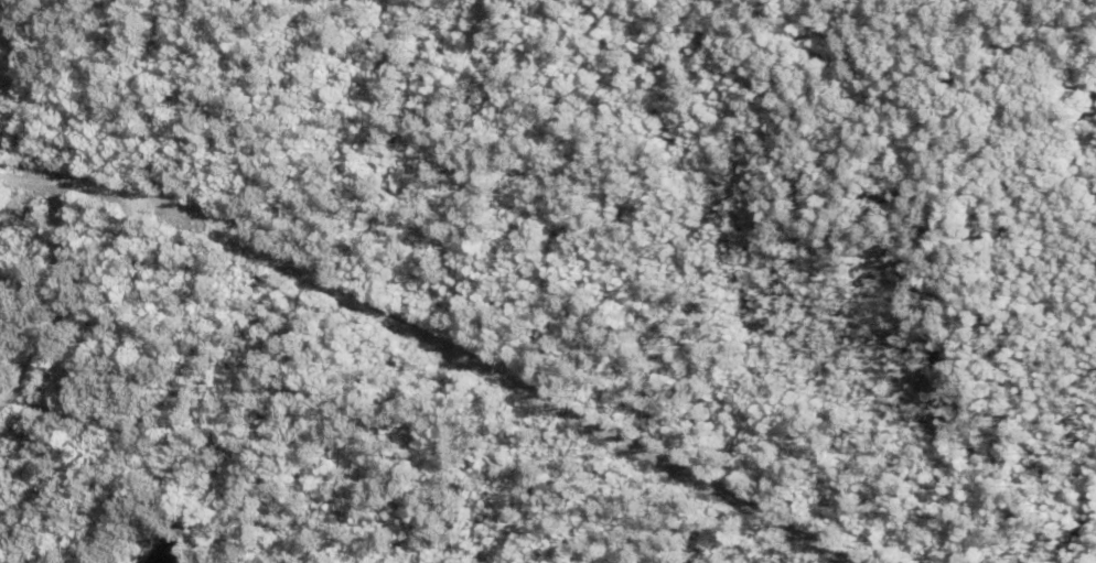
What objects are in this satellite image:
building: (26, 379)

